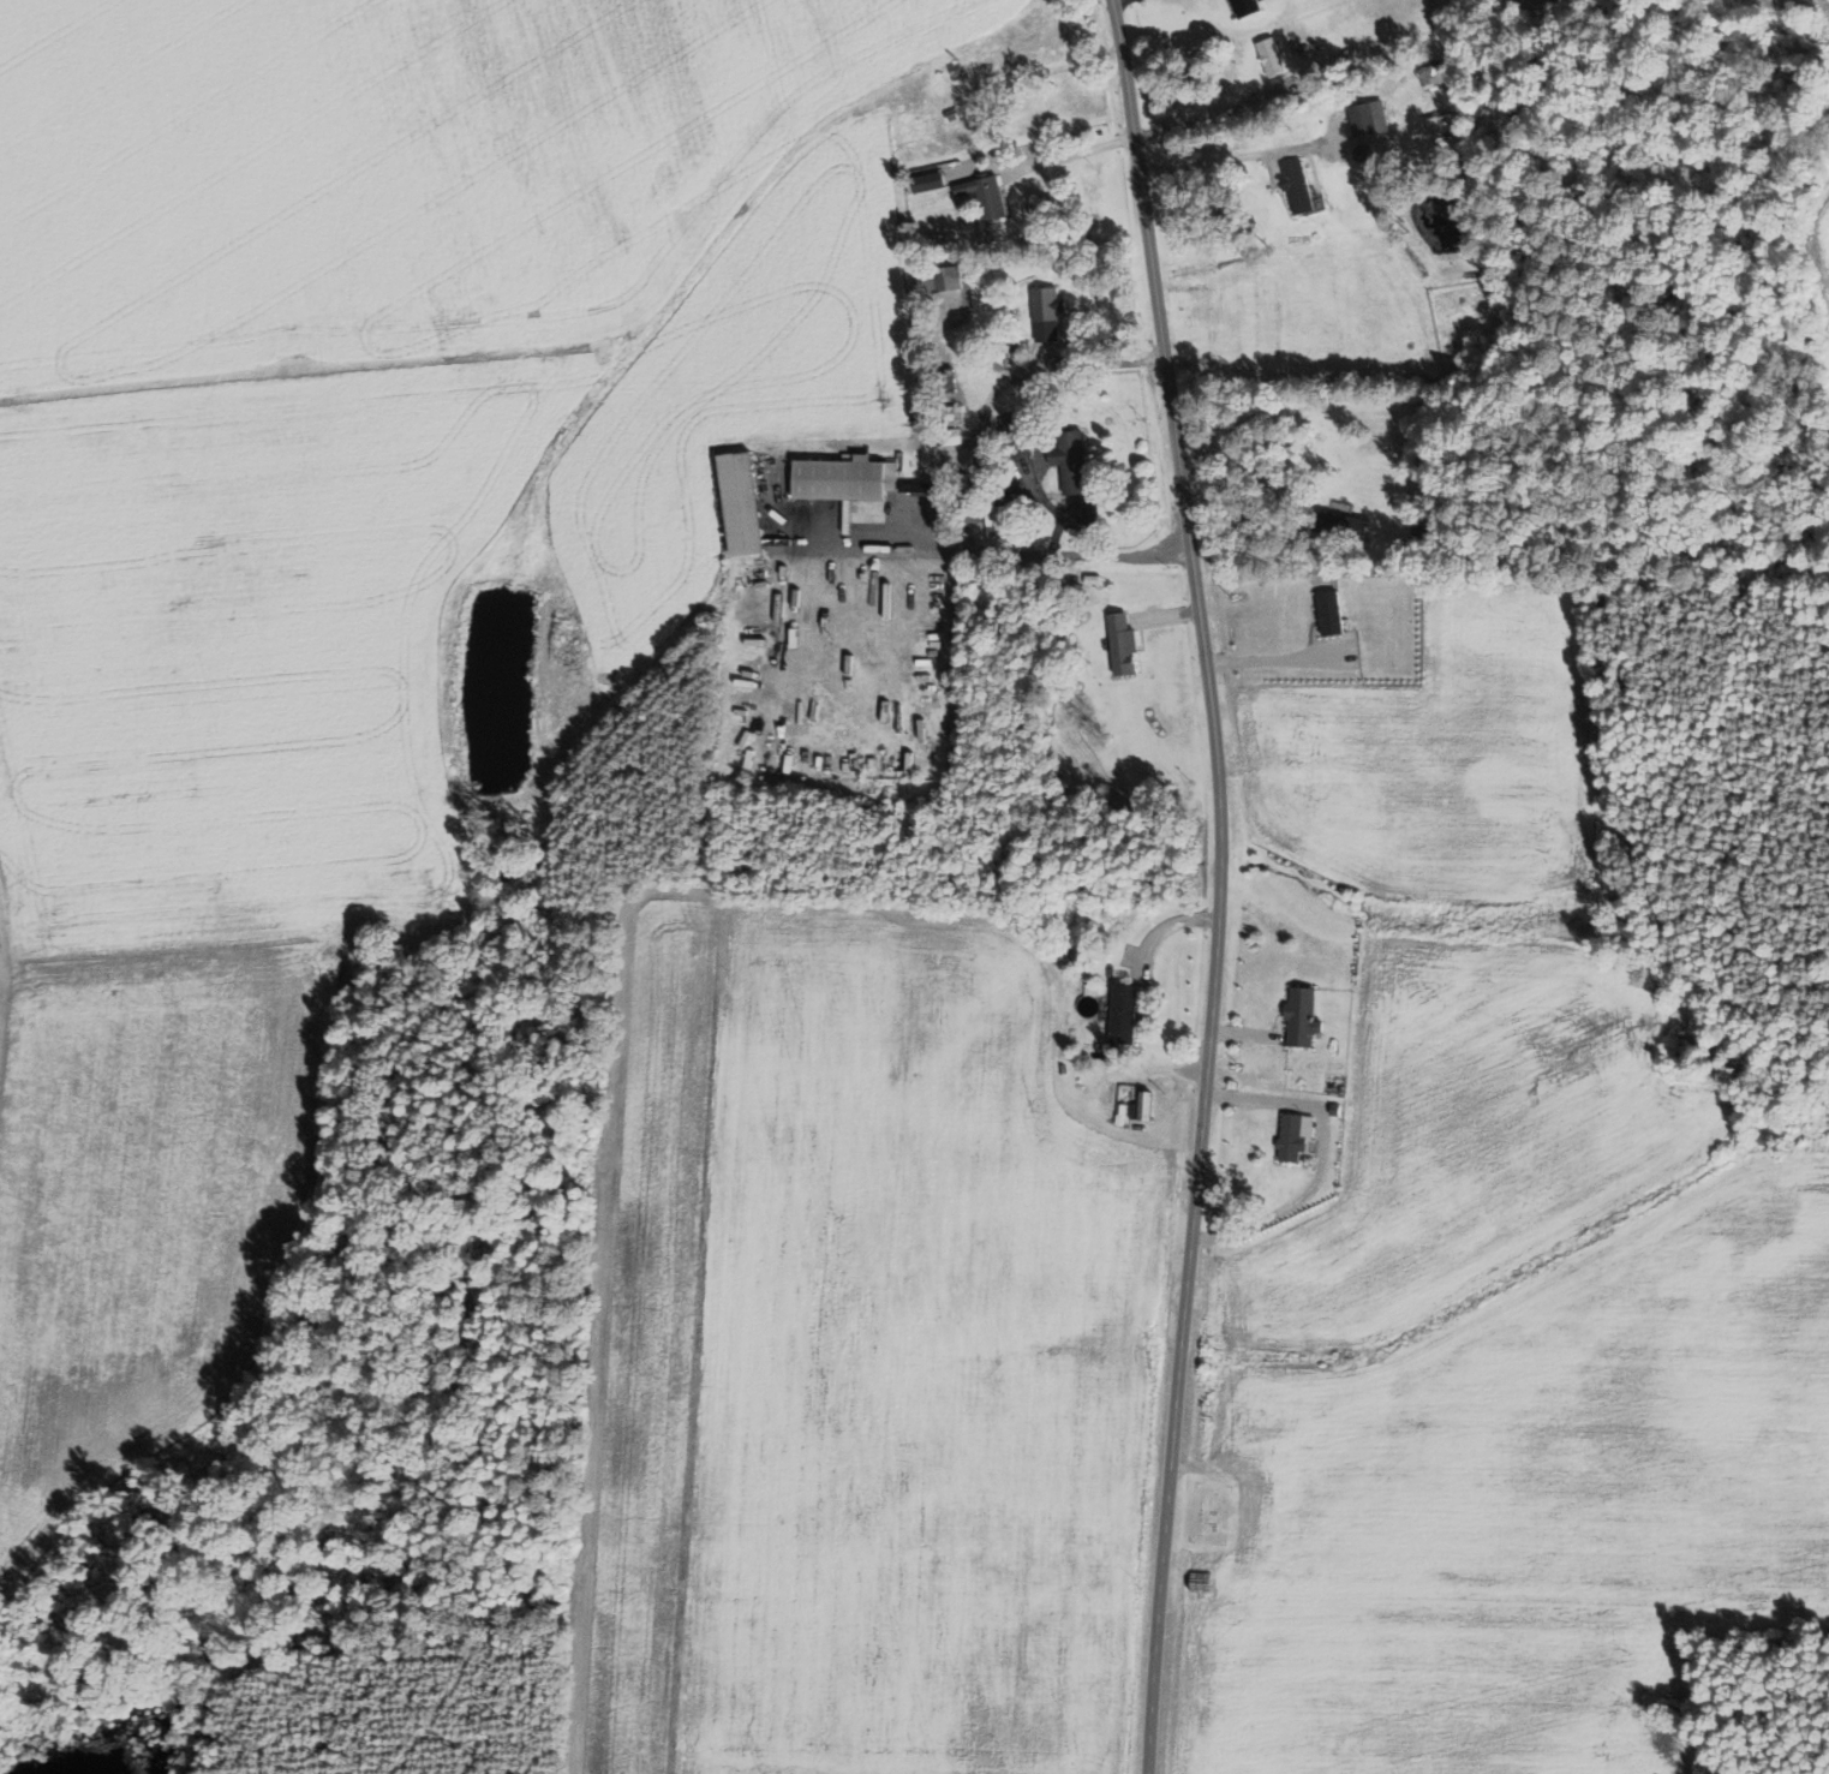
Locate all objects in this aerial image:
road: (1116, 0)
crop: (1540, 5)
building: (1251, 7)
crop: (1785, 7)
building: (1305, 48)
building: (1274, 56)
building: (1433, 71)
building: (958, 72)
building: (951, 114)
road: (1201, 115)
building: (1371, 119)
building: (1446, 123)
road: (1075, 153)
building: (1367, 153)
road: (1238, 157)
building: (939, 178)
building: (1301, 186)
building: (988, 196)
building: (937, 240)
crop: (1822, 270)
building: (946, 287)
building: (1050, 312)
road: (994, 366)
road: (985, 413)
road: (1260, 420)
building: (954, 436)
building: (1017, 436)
building: (1039, 454)
building: (1074, 461)
building: (848, 479)
building: (924, 486)
building: (747, 504)
parking lot: (861, 510)
building: (1003, 514)
building: (1427, 524)
building: (1343, 525)
road: (920, 548)
road: (1071, 554)
crop: (343, 555)
building: (1095, 580)
road: (1512, 580)
road: (1168, 617)
building: (1126, 644)
crop: (1416, 734)
road: (1220, 884)
road: (1160, 927)
building: (1126, 1014)
building: (1305, 1016)
road: (1249, 1035)
building: (1146, 1107)
crop: (1472, 1134)
building: (1297, 1136)
road: (1320, 1155)
crop: (863, 1362)
crop: (1529, 1509)
park: (1211, 1512)

